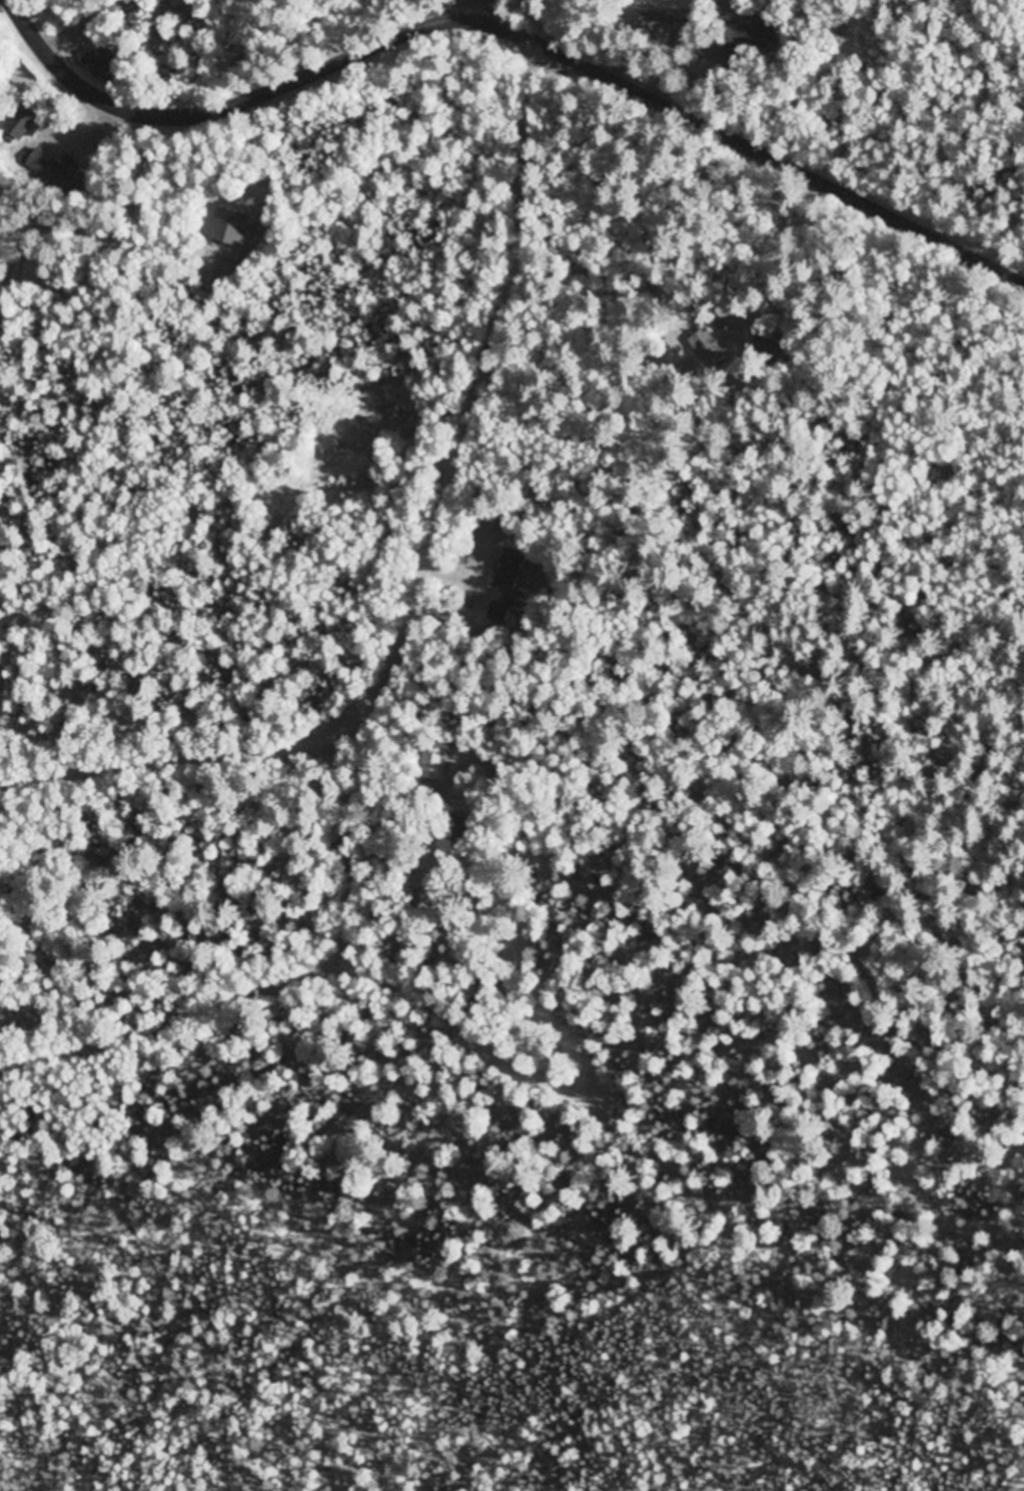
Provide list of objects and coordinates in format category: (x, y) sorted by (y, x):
road: (459, 5)
road: (409, 15)
building: (665, 20)
road: (88, 22)
building: (752, 36)
building: (102, 64)
road: (215, 111)
building: (21, 124)
road: (740, 137)
building: (59, 174)
building: (231, 227)
building: (764, 350)
building: (696, 352)
road: (428, 567)
building: (509, 570)
building: (498, 614)
building: (433, 760)
road: (278, 983)

